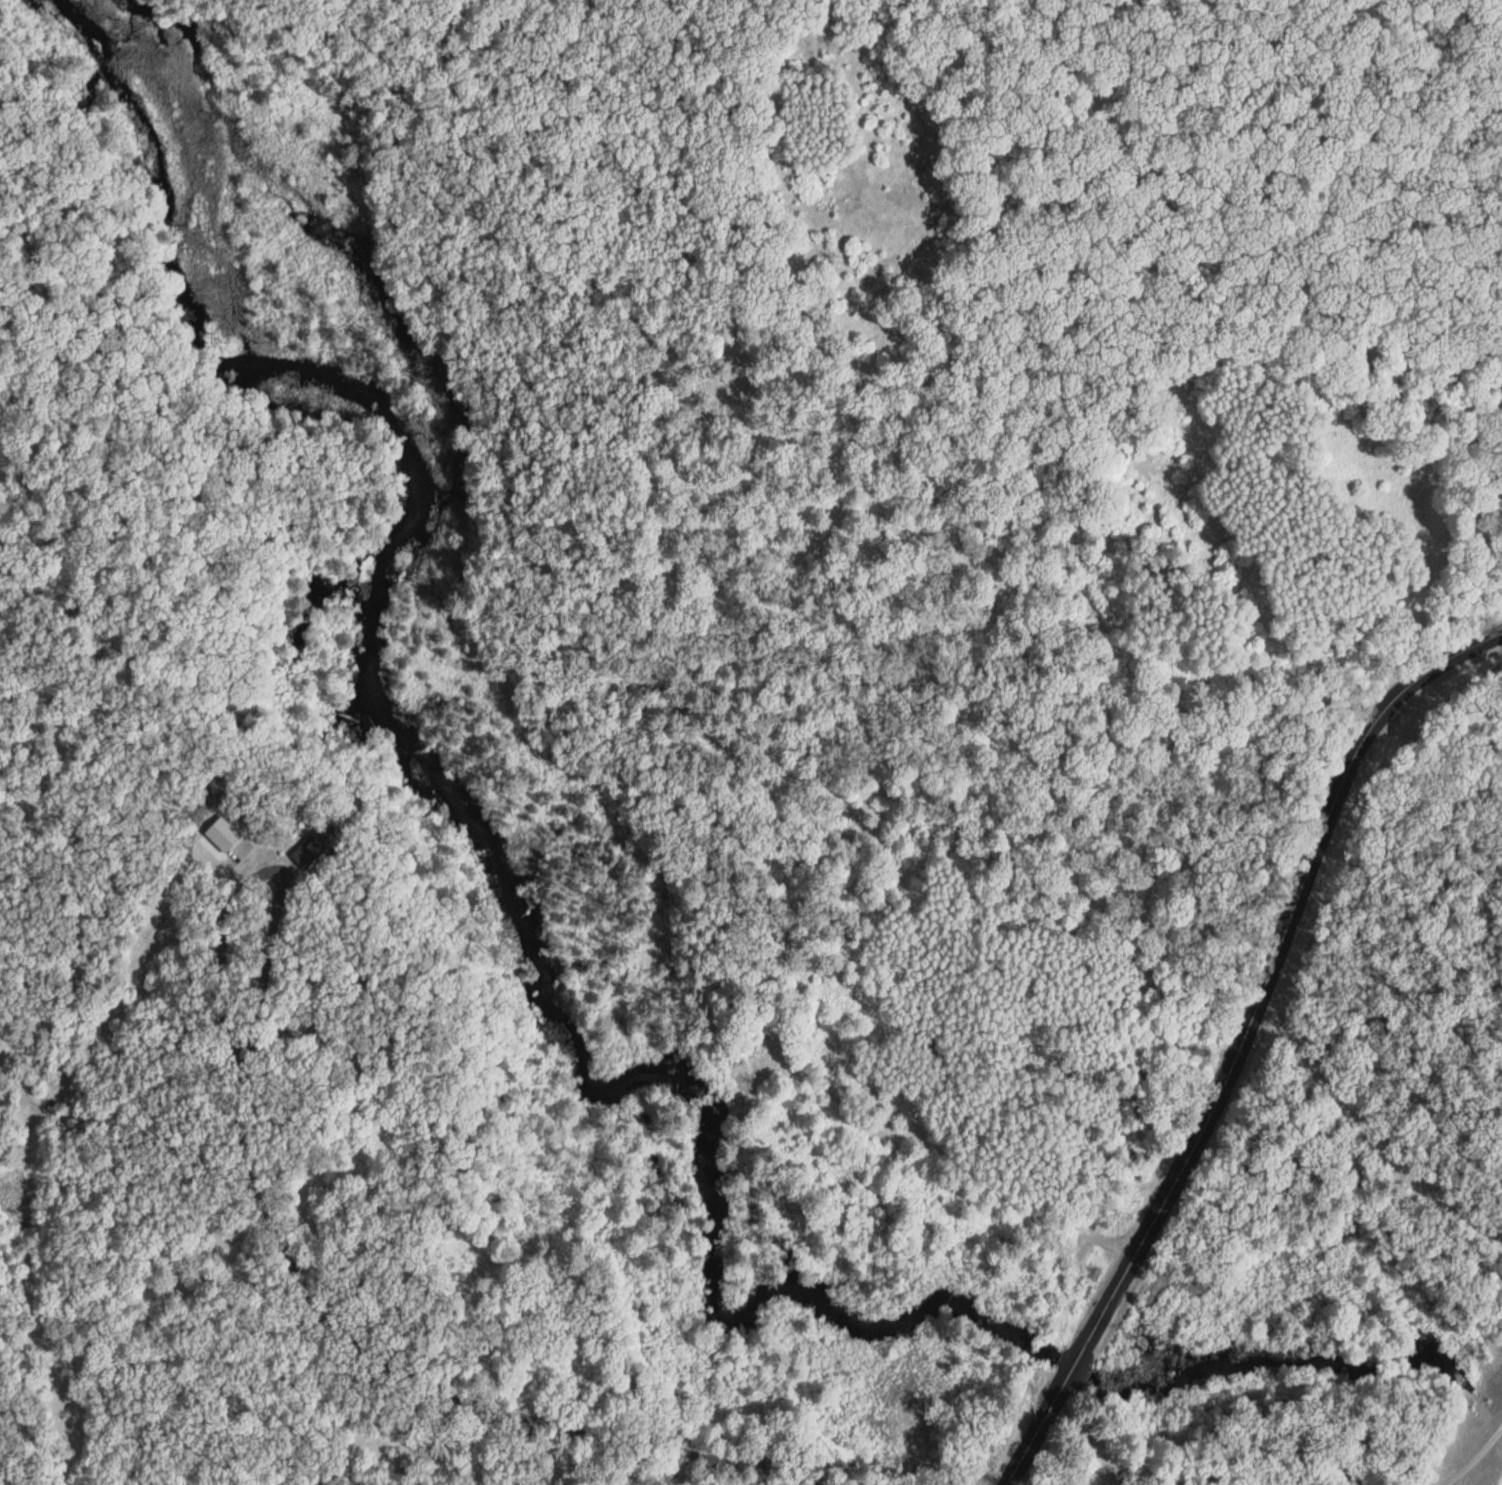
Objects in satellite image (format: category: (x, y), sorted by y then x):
road: (1244, 1035)
road: (1467, 1453)
road: (1468, 1455)
road: (1468, 1455)

